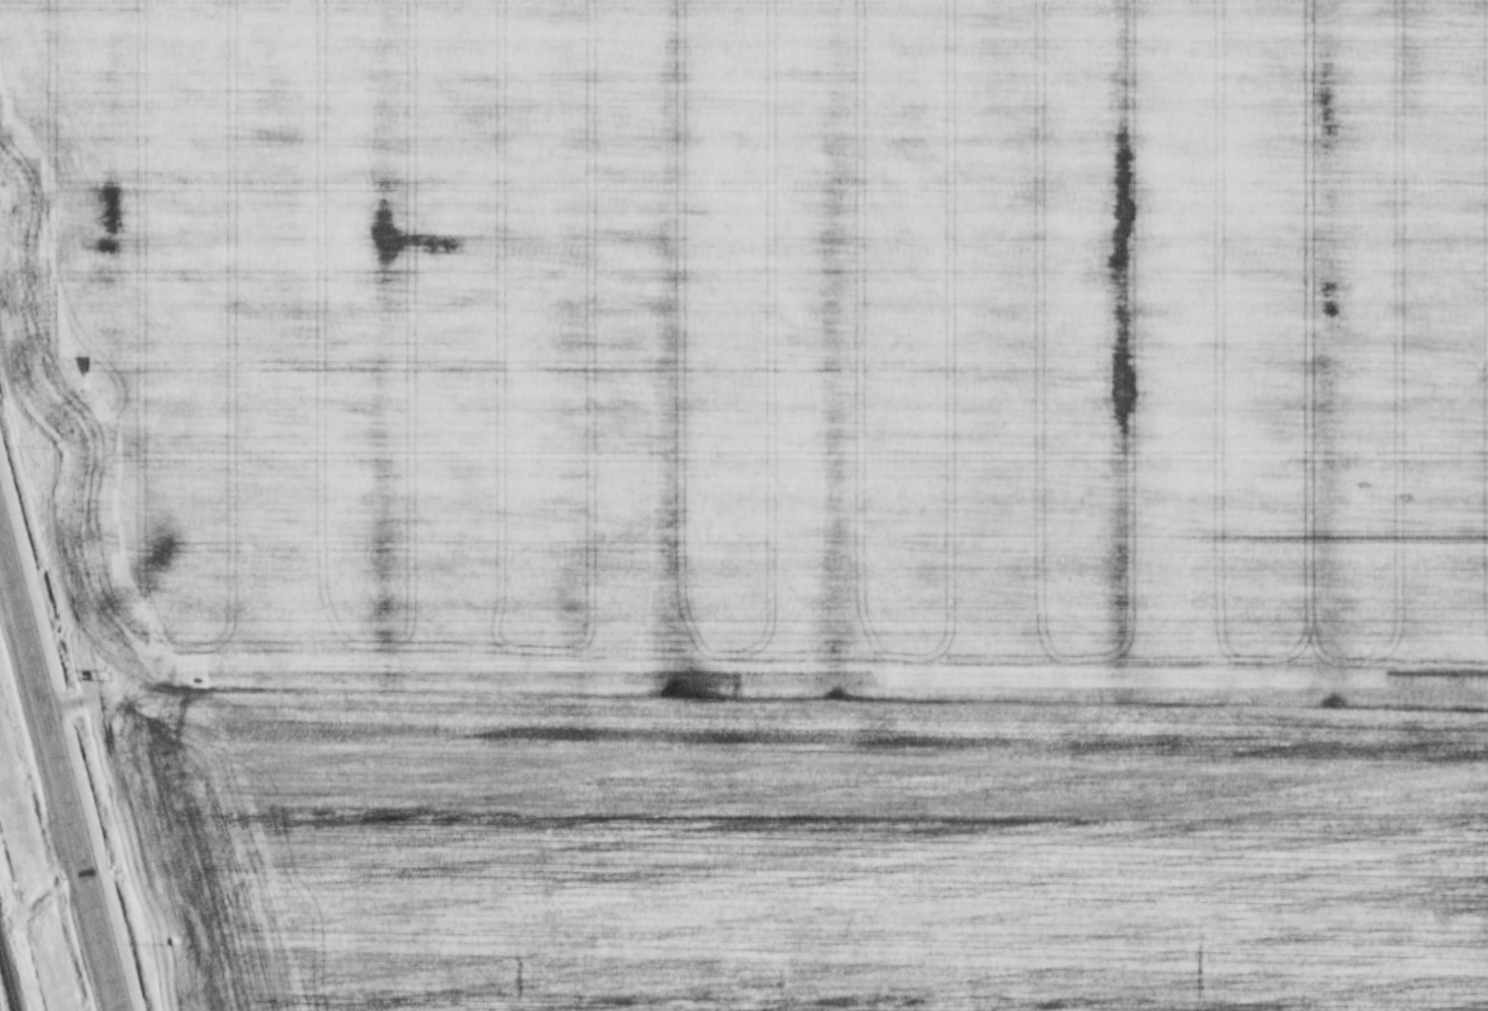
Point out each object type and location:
road: (60, 762)
railway: (5, 987)

